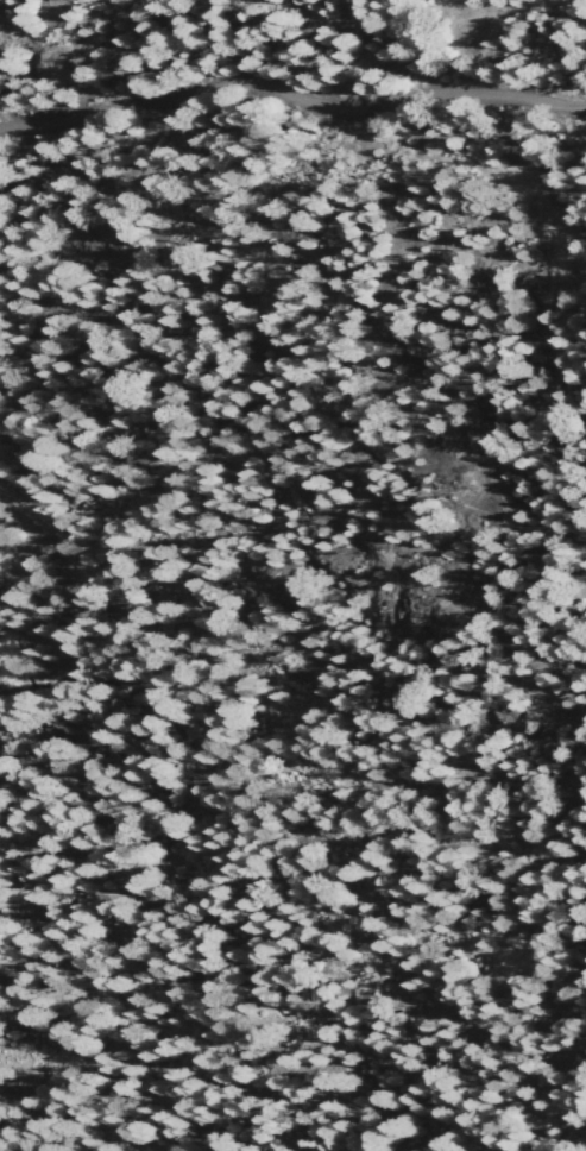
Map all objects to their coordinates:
road: (239, 89)
road: (12, 1128)

